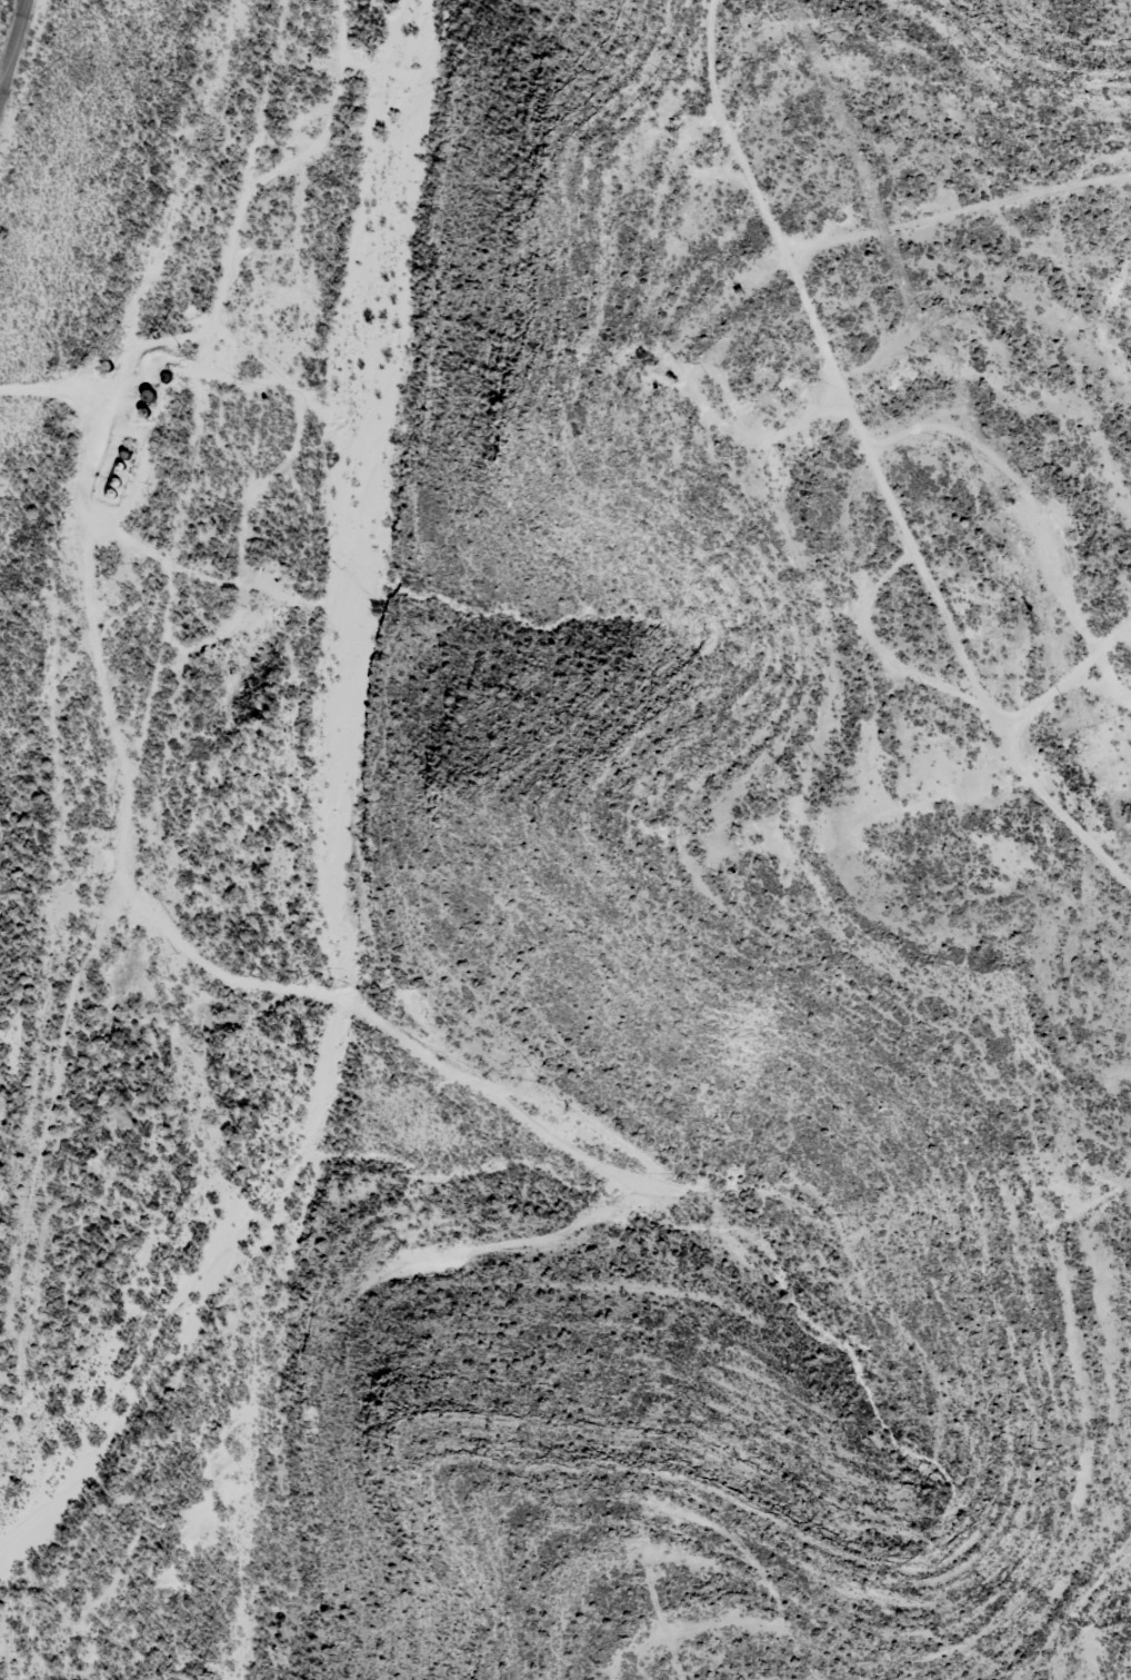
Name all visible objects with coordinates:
road: (8, 29)
road: (1018, 759)
road: (441, 1115)

